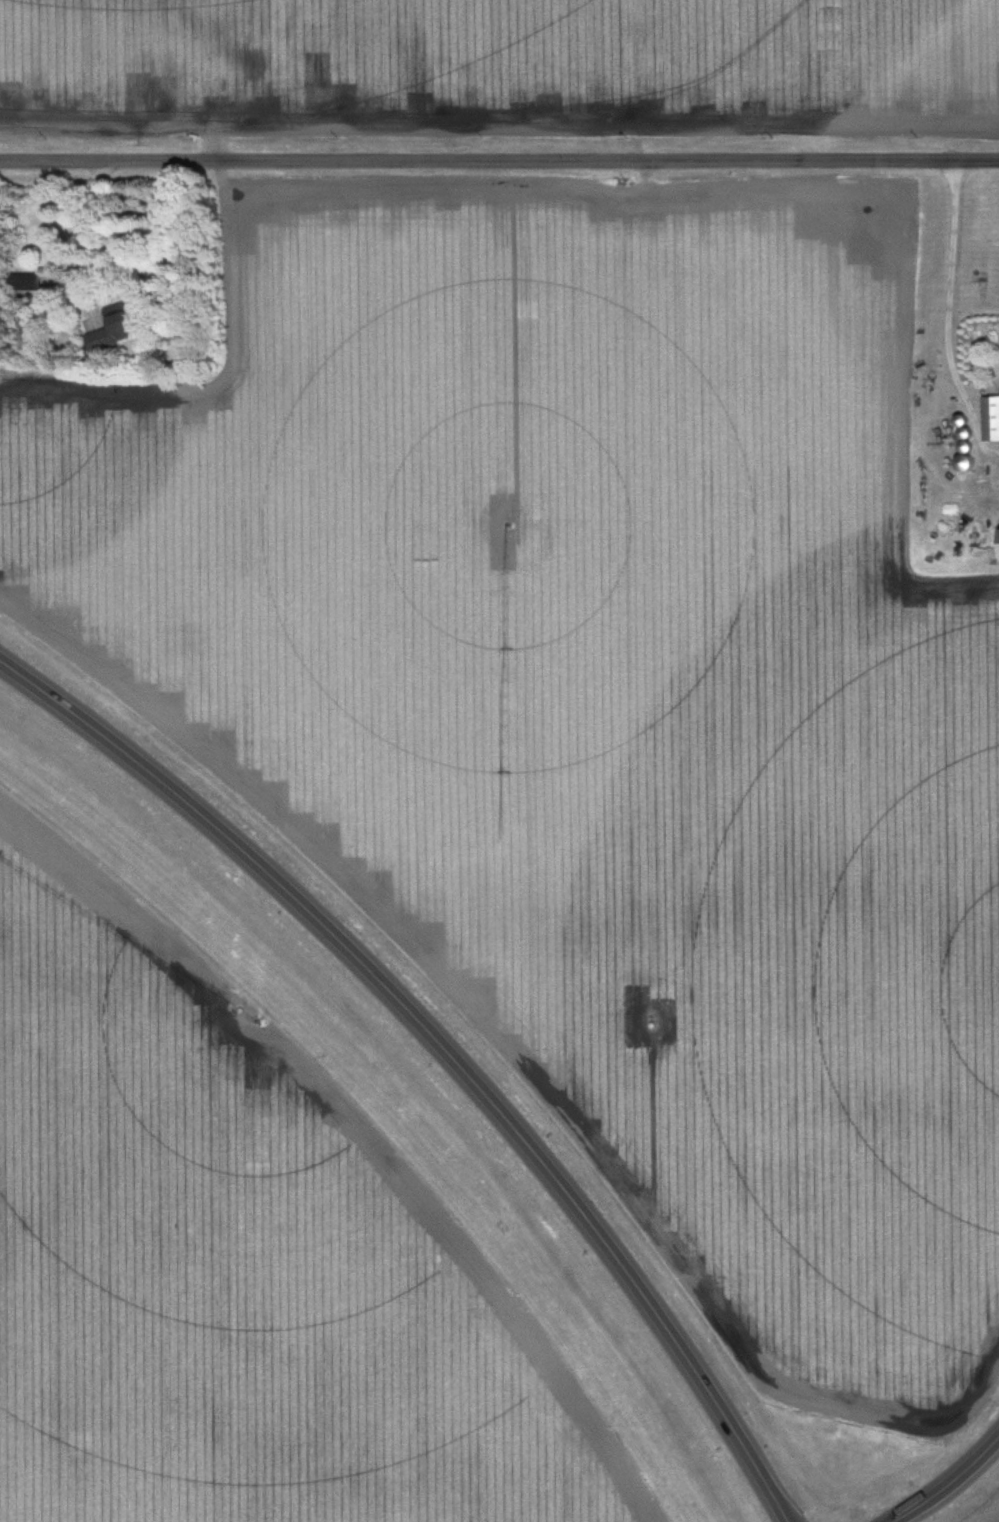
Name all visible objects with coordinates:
crop: (97, 65)
crop: (612, 66)
road: (499, 160)
building: (31, 283)
building: (117, 328)
building: (993, 419)
crop: (607, 695)
road: (446, 1040)
crop: (276, 1329)
road: (945, 1481)

